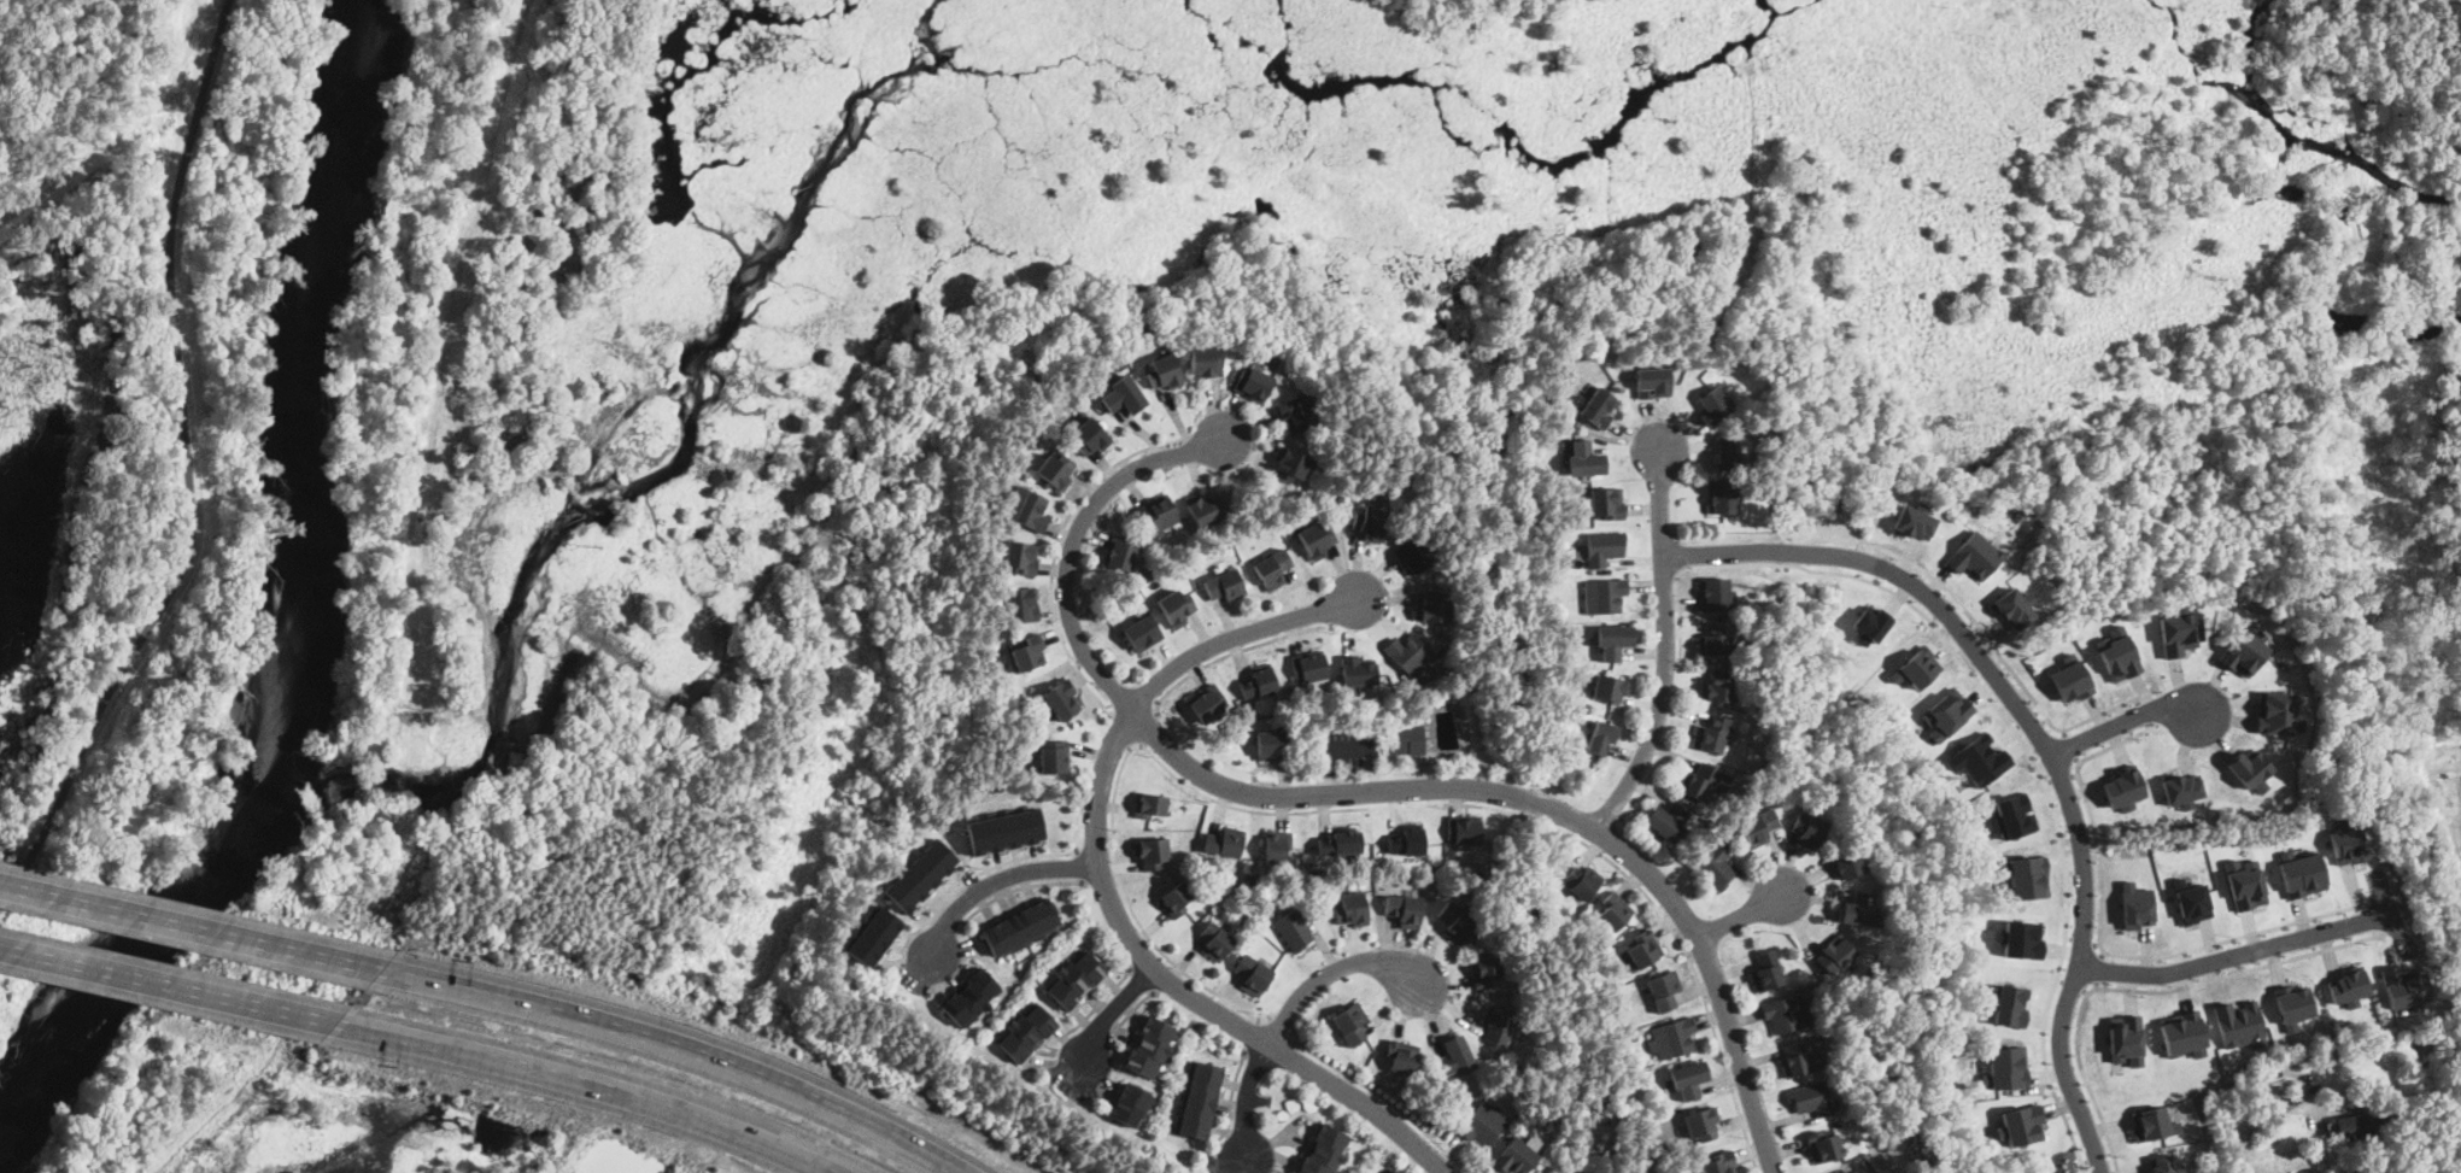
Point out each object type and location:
river: (347, 58)
building: (1206, 362)
building: (1165, 373)
building: (1653, 382)
building: (1252, 383)
building: (1124, 397)
building: (1555, 398)
building: (1712, 404)
building: (1599, 410)
building: (1294, 412)
building: (1090, 438)
park: (152, 454)
building: (1728, 457)
building: (1586, 461)
building: (1291, 465)
building: (1056, 470)
road: (189, 474)
building: (1745, 491)
building: (1776, 494)
building: (1723, 498)
building: (1607, 505)
road: (1675, 505)
building: (1026, 510)
building: (1205, 510)
building: (1156, 516)
building: (1912, 522)
building: (1370, 524)
building: (1316, 541)
building: (1605, 549)
road: (1055, 550)
building: (1120, 555)
building: (1974, 555)
building: (1413, 556)
road: (1677, 556)
building: (1019, 558)
building: (1273, 569)
building: (1149, 571)
building: (1226, 586)
building: (1715, 594)
building: (1605, 596)
building: (1024, 605)
building: (1434, 606)
building: (1177, 608)
building: (2012, 608)
road: (1680, 624)
building: (1871, 624)
building: (2179, 633)
building: (1143, 634)
building: (1715, 640)
building: (1615, 641)
road: (1665, 646)
road: (1974, 649)
building: (2243, 652)
building: (1027, 653)
building: (1410, 655)
building: (2117, 655)
road: (1231, 656)
river: (286, 661)
road: (2005, 661)
building: (1309, 668)
building: (1917, 668)
building: (1358, 671)
building: (2070, 680)
park: (717, 682)
building: (1259, 682)
building: (1611, 690)
building: (1719, 690)
building: (1061, 700)
building: (1207, 704)
building: (2275, 711)
building: (1946, 714)
road: (2143, 715)
road: (2026, 719)
road: (2123, 721)
road: (1123, 729)
road: (1152, 733)
building: (1712, 735)
building: (1601, 737)
building: (1410, 740)
building: (1273, 746)
road: (2072, 747)
road: (1349, 749)
building: (1054, 757)
building: (1980, 759)
building: (2249, 767)
road: (1325, 773)
road: (2061, 775)
building: (1705, 784)
building: (2123, 787)
building: (2181, 788)
road: (1359, 792)
building: (1150, 807)
building: (2014, 815)
building: (1666, 822)
road: (1545, 823)
building: (1465, 828)
building: (1758, 828)
building: (1006, 829)
building: (1807, 831)
road: (2061, 833)
building: (1407, 841)
road: (1612, 841)
building: (1225, 843)
building: (1341, 843)
building: (2346, 844)
building: (1277, 846)
road: (1096, 852)
building: (1153, 854)
road: (1026, 856)
building: (1847, 864)
road: (1079, 866)
building: (1715, 868)
building: (2301, 873)
building: (920, 874)
building: (2027, 876)
building: (1582, 879)
road: (995, 880)
road: (1101, 880)
building: (2244, 882)
road: (1020, 887)
road: (1108, 891)
building: (1174, 901)
building: (2191, 901)
building: (2137, 905)
building: (1352, 910)
building: (1858, 910)
building: (1405, 911)
building: (1612, 913)
road: (1132, 914)
road: (1745, 915)
road: (927, 922)
building: (1455, 922)
building: (1021, 926)
road: (195, 927)
building: (1295, 927)
building: (874, 934)
building: (2023, 939)
road: (2082, 940)
building: (1217, 943)
building: (1643, 949)
road: (2102, 950)
road: (2237, 954)
building: (1835, 955)
road: (1338, 970)
road: (2100, 970)
building: (1486, 972)
building: (1766, 972)
building: (1253, 975)
building: (1077, 978)
road: (1143, 980)
road: (170, 985)
road: (2073, 985)
building: (2403, 985)
building: (2346, 987)
building: (1665, 991)
road: (2143, 991)
building: (968, 996)
road: (1102, 1002)
building: (2010, 1005)
building: (2292, 1005)
road: (1135, 1011)
building: (1786, 1014)
road: (1111, 1016)
building: (1499, 1024)
building: (2239, 1024)
building: (1350, 1025)
road: (1278, 1027)
building: (1027, 1031)
building: (2182, 1033)
road: (1253, 1036)
building: (1674, 1038)
building: (2126, 1039)
park: (4, 1044)
building: (1150, 1046)
road: (680, 1055)
building: (1800, 1056)
building: (1454, 1057)
building: (1402, 1058)
building: (2005, 1066)
road: (2064, 1071)
building: (1689, 1080)
road: (585, 1090)
road: (1234, 1093)
road: (1379, 1098)
building: (1200, 1099)
building: (1812, 1099)
road: (1252, 1101)
building: (1132, 1103)
building: (1558, 1104)
road: (2257, 1120)
building: (2149, 1122)
building: (1483, 1124)
building: (1703, 1125)
building: (2023, 1125)
building: (2360, 1126)
building: (1824, 1145)
building: (1324, 1150)
building: (1516, 1157)
building: (1721, 1163)
building: (2162, 1163)
building: (1391, 1171)
building: (1846, 1172)

